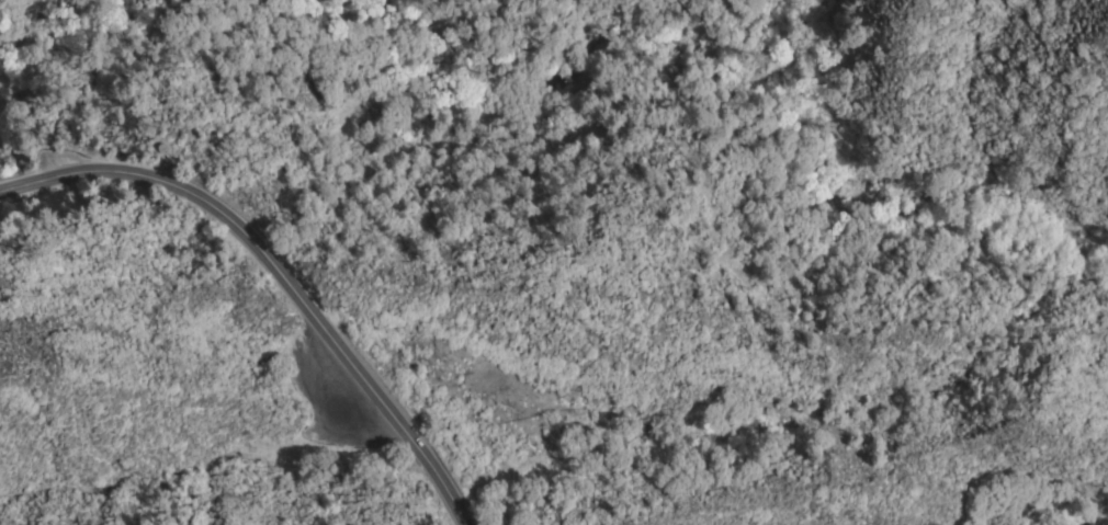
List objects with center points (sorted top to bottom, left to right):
road: (108, 170)
road: (875, 196)
road: (355, 351)

